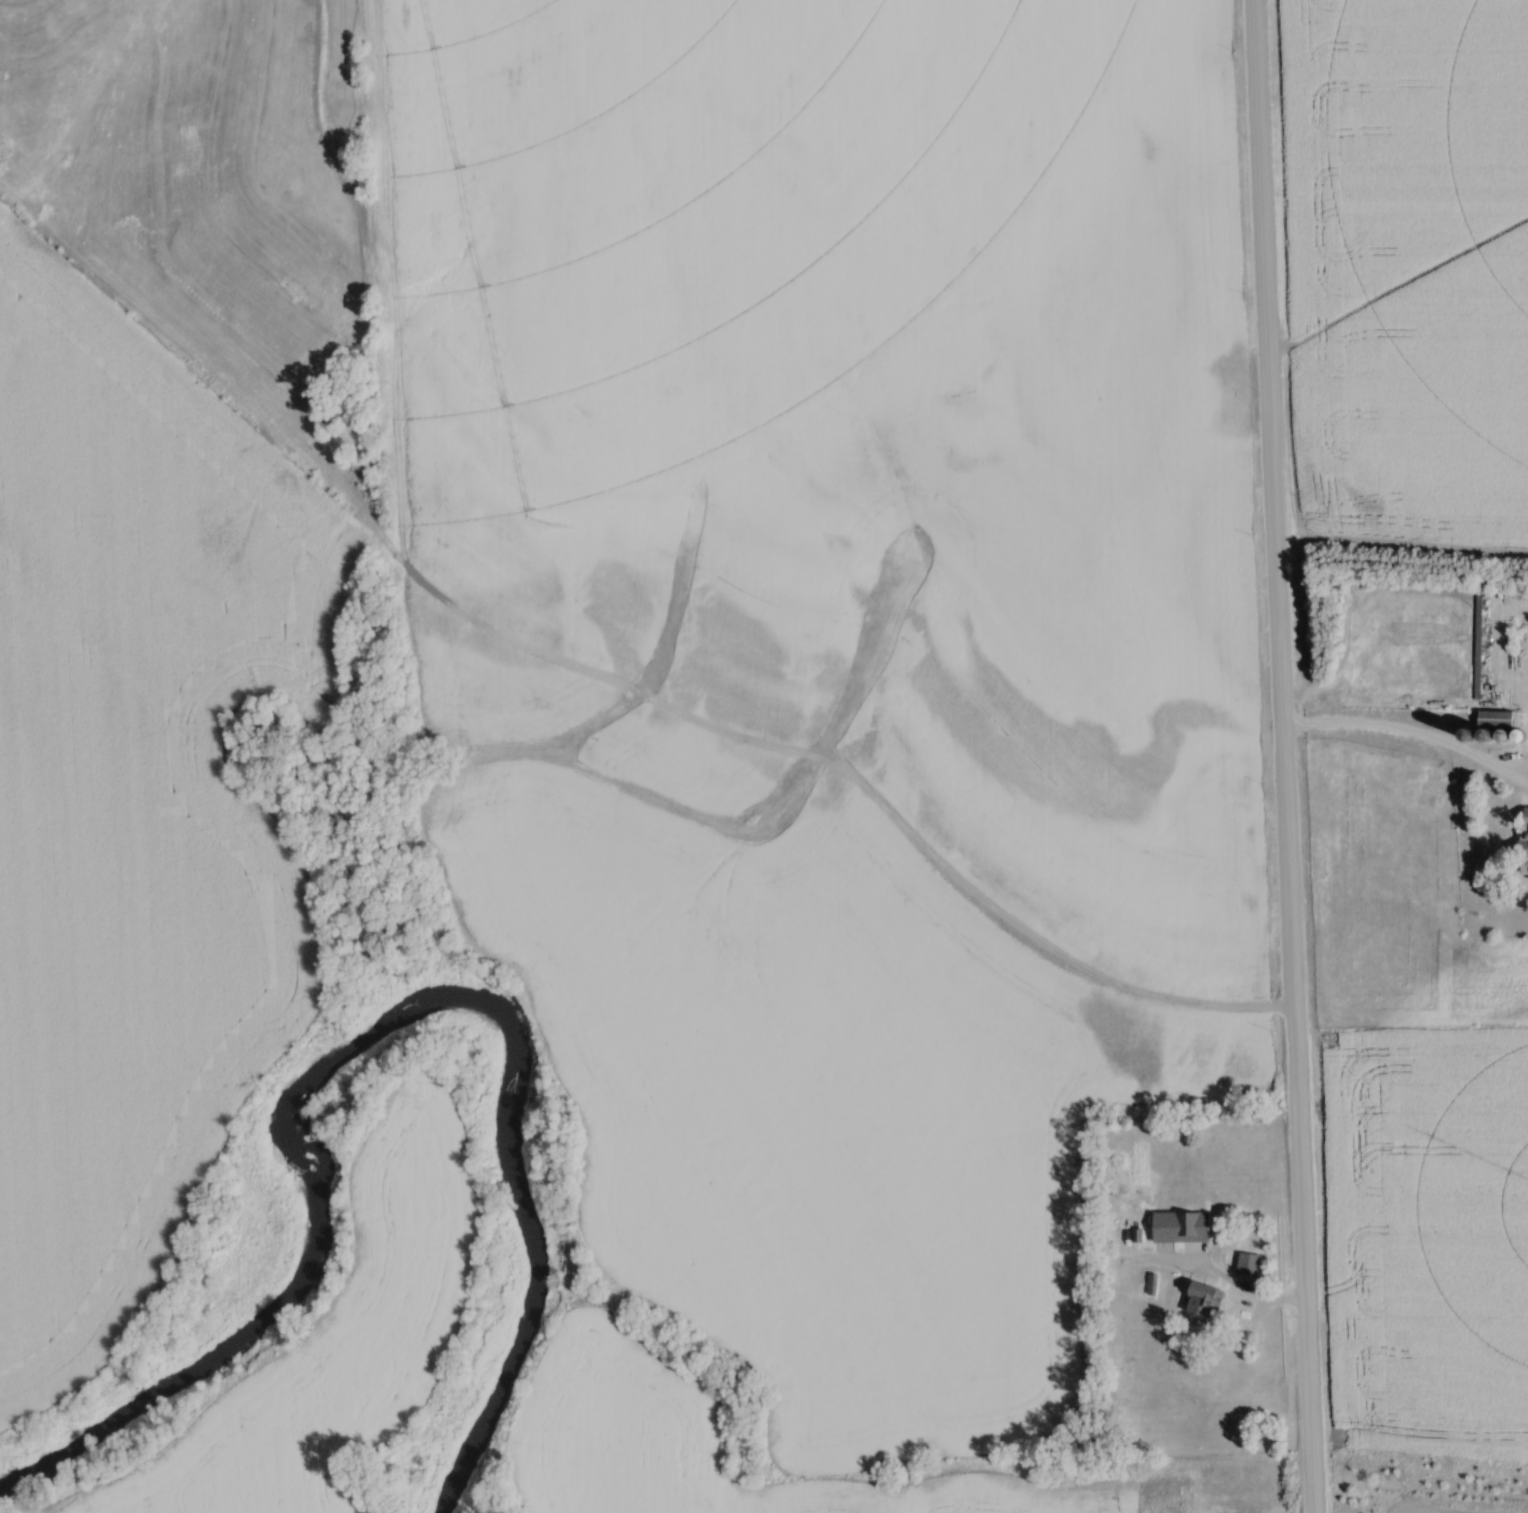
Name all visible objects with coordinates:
building: (1497, 721)
road: (1411, 733)
road: (1284, 756)
river: (371, 1023)
building: (1183, 1229)
road: (1244, 1292)
building: (1205, 1303)

